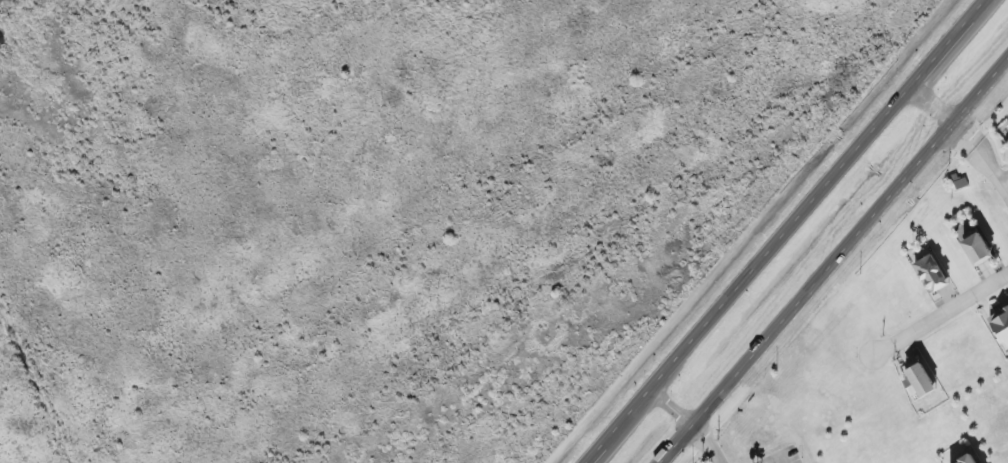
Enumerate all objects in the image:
road: (964, 135)
road: (1006, 184)
road: (787, 231)
building: (978, 249)
road: (833, 262)
building: (932, 274)
road: (941, 316)
building: (1001, 326)
building: (918, 380)
road: (673, 405)
road: (709, 442)
road: (782, 459)

